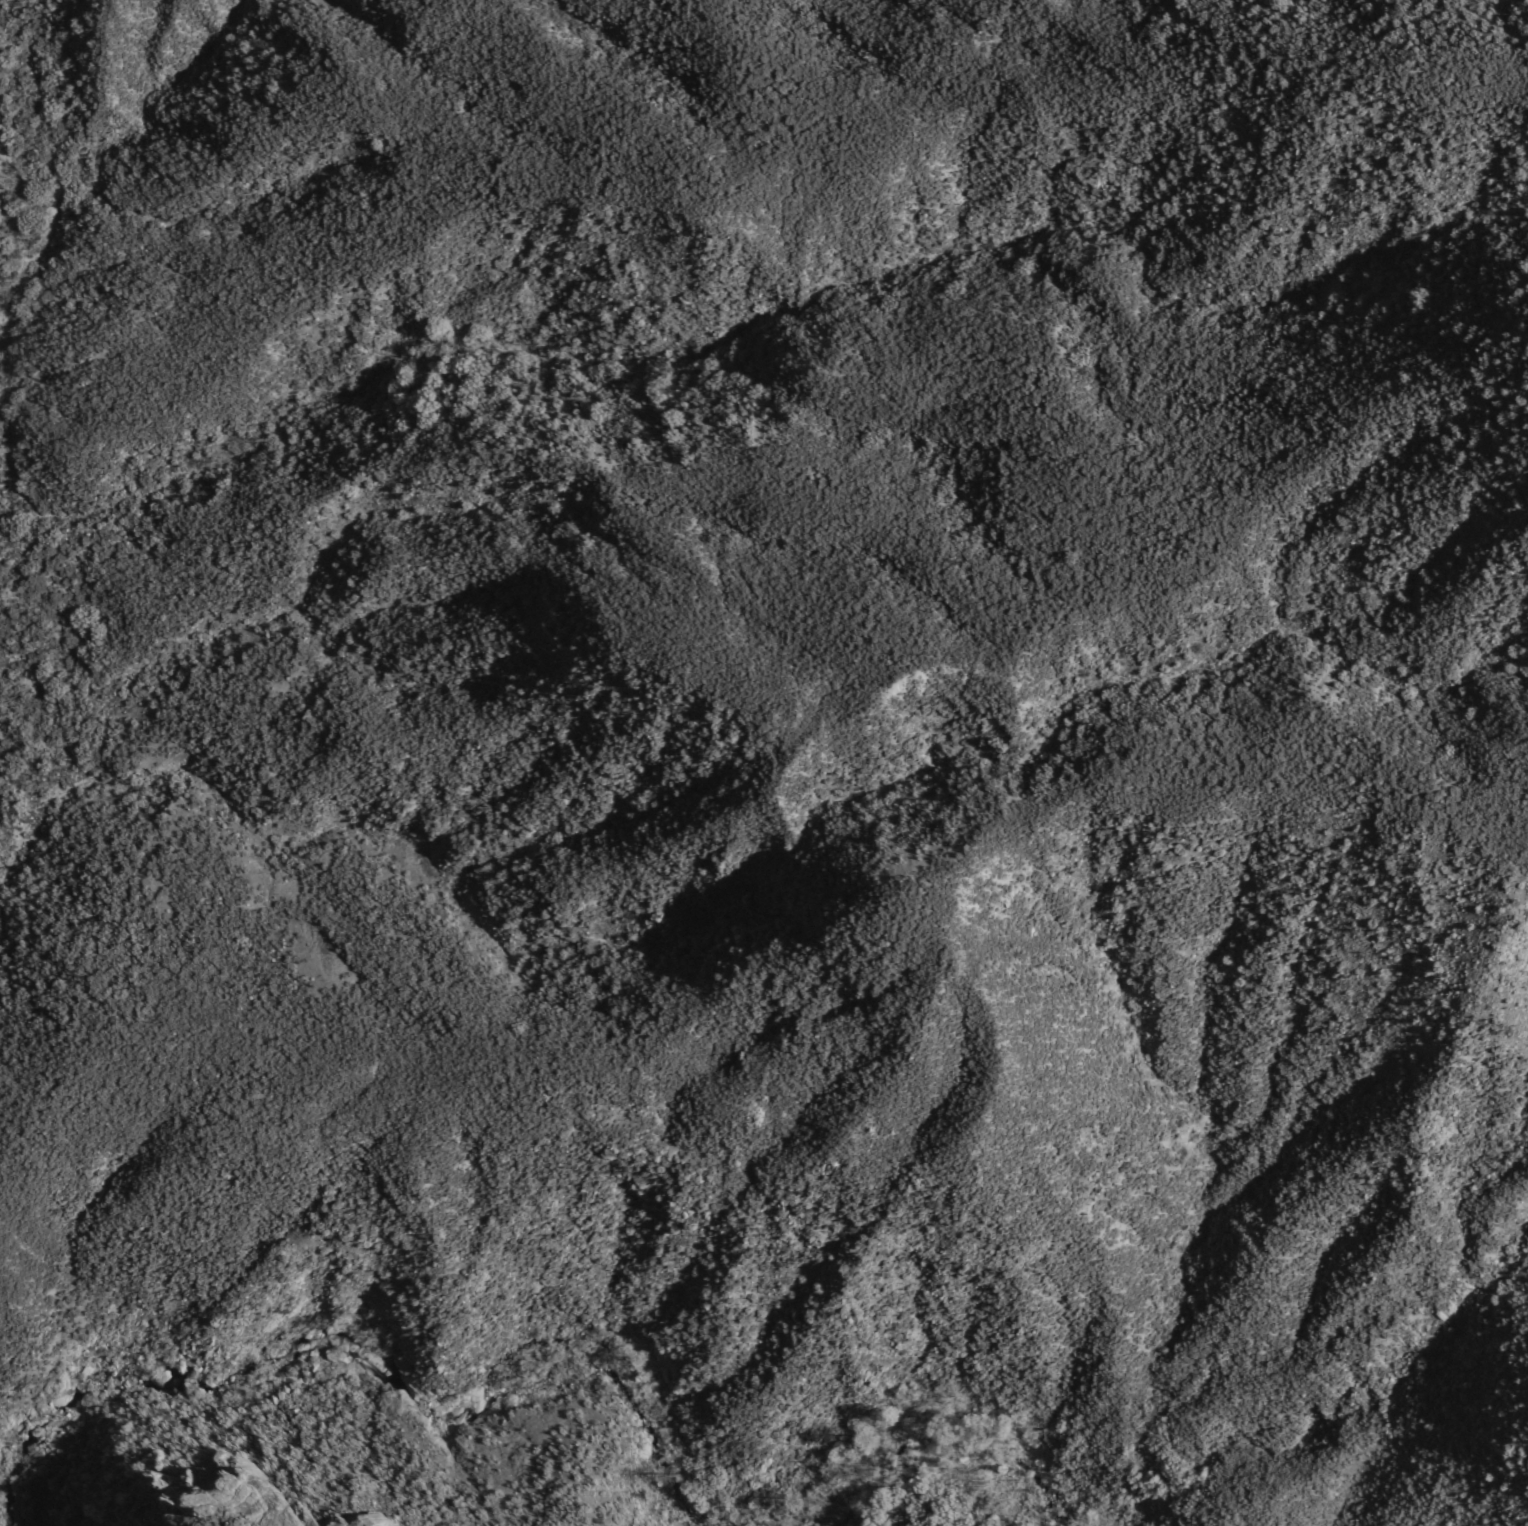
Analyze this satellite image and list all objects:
river: (349, 1392)
river: (834, 1518)

